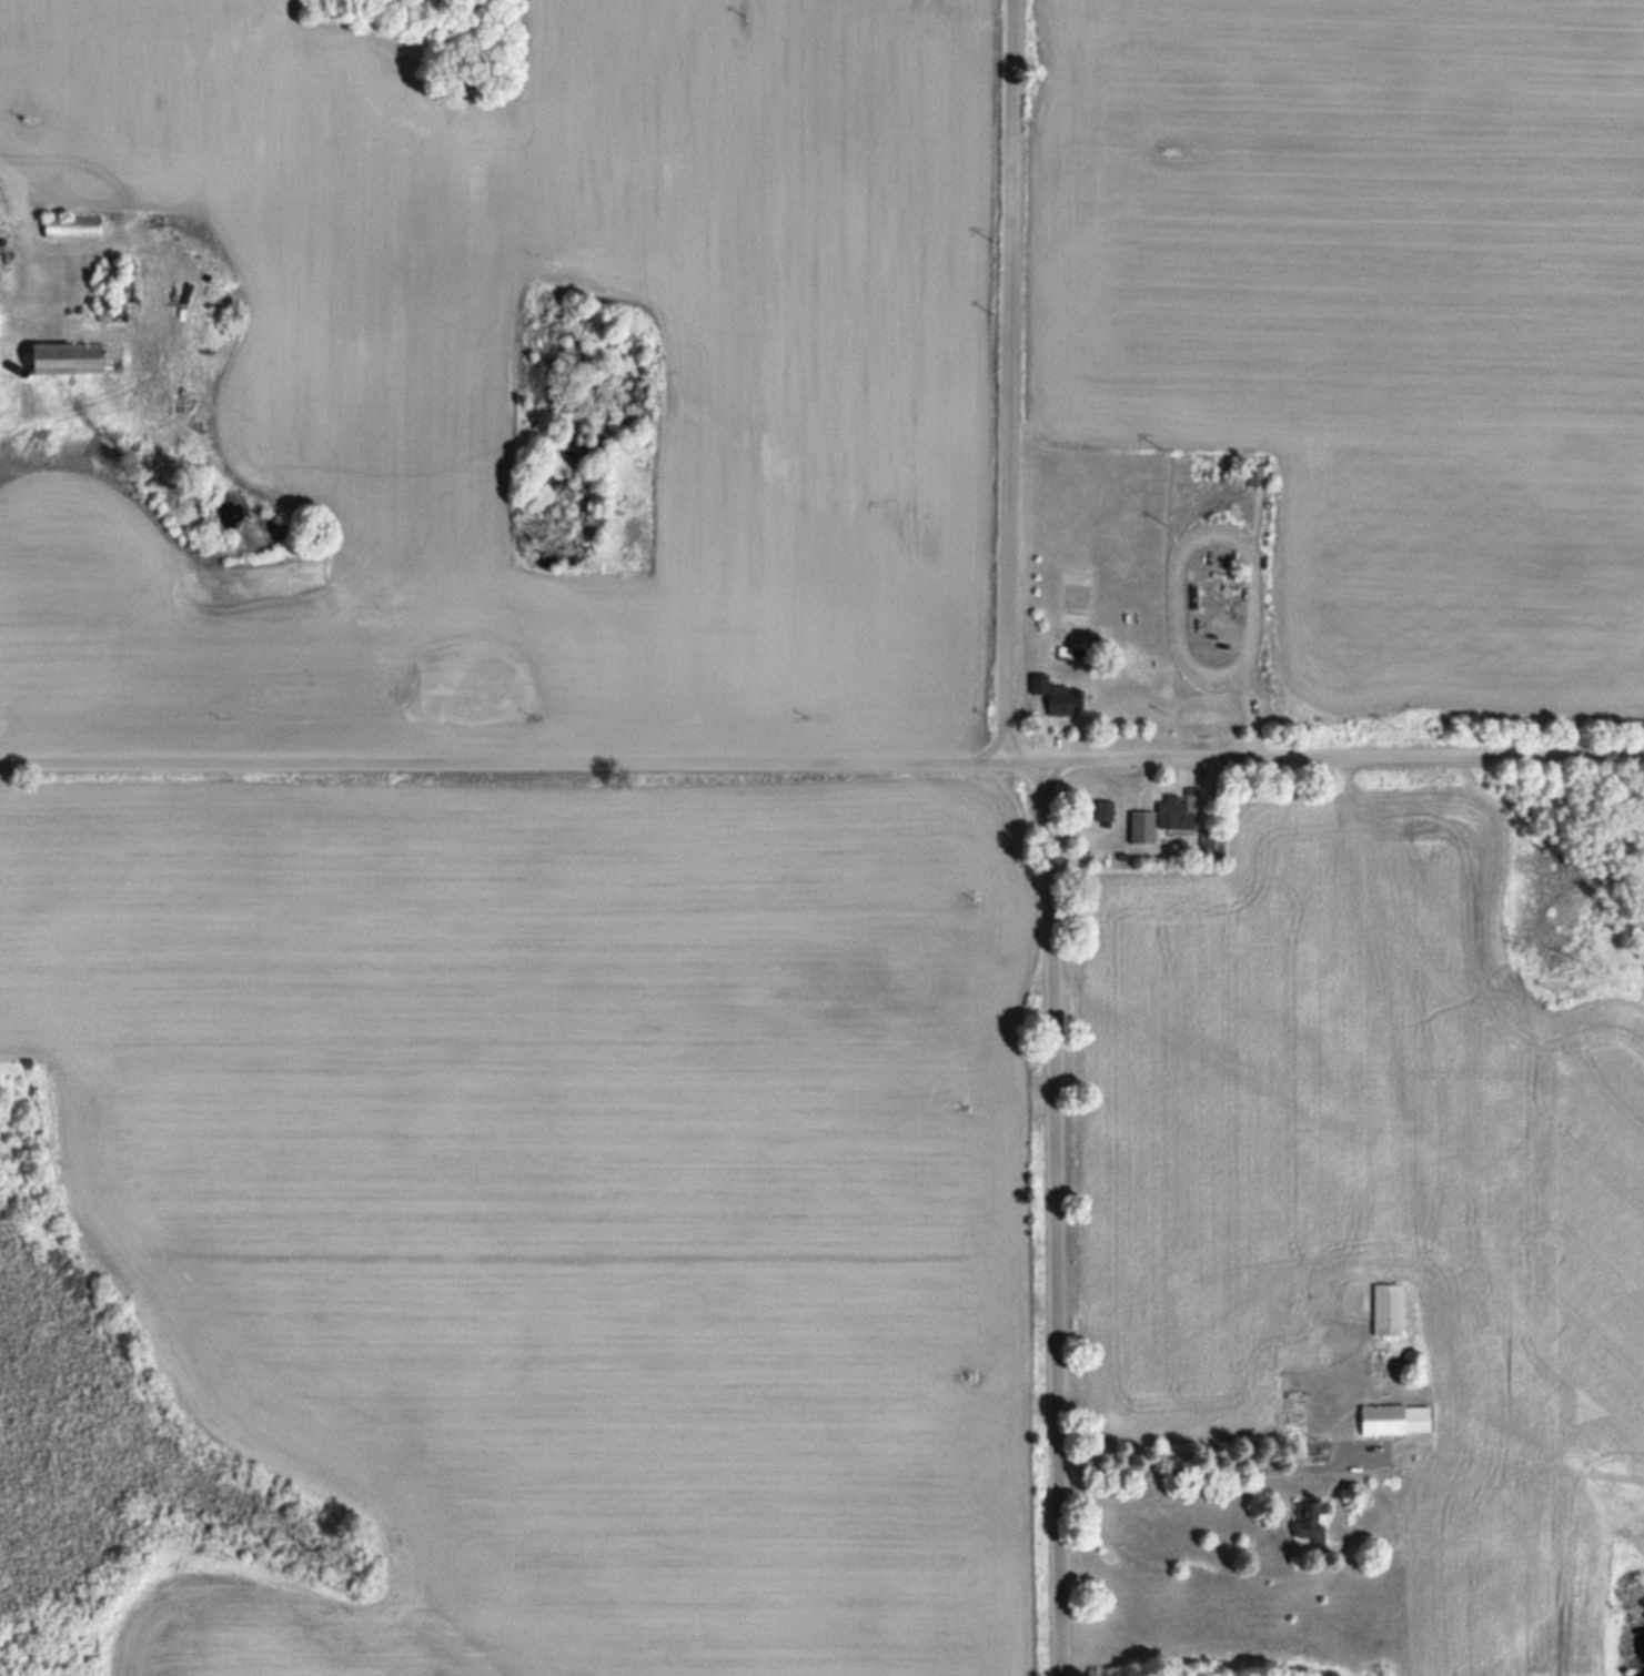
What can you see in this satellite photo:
building: (71, 225)
building: (107, 267)
building: (69, 356)
road: (1008, 380)
building: (1257, 474)
building: (1056, 694)
road: (1345, 755)
road: (523, 760)
building: (1172, 810)
building: (1142, 825)
building: (1211, 846)
road: (1057, 1216)
building: (1388, 1308)
building: (1320, 1326)
building: (1383, 1418)
road: (1224, 1467)
building: (1311, 1519)

